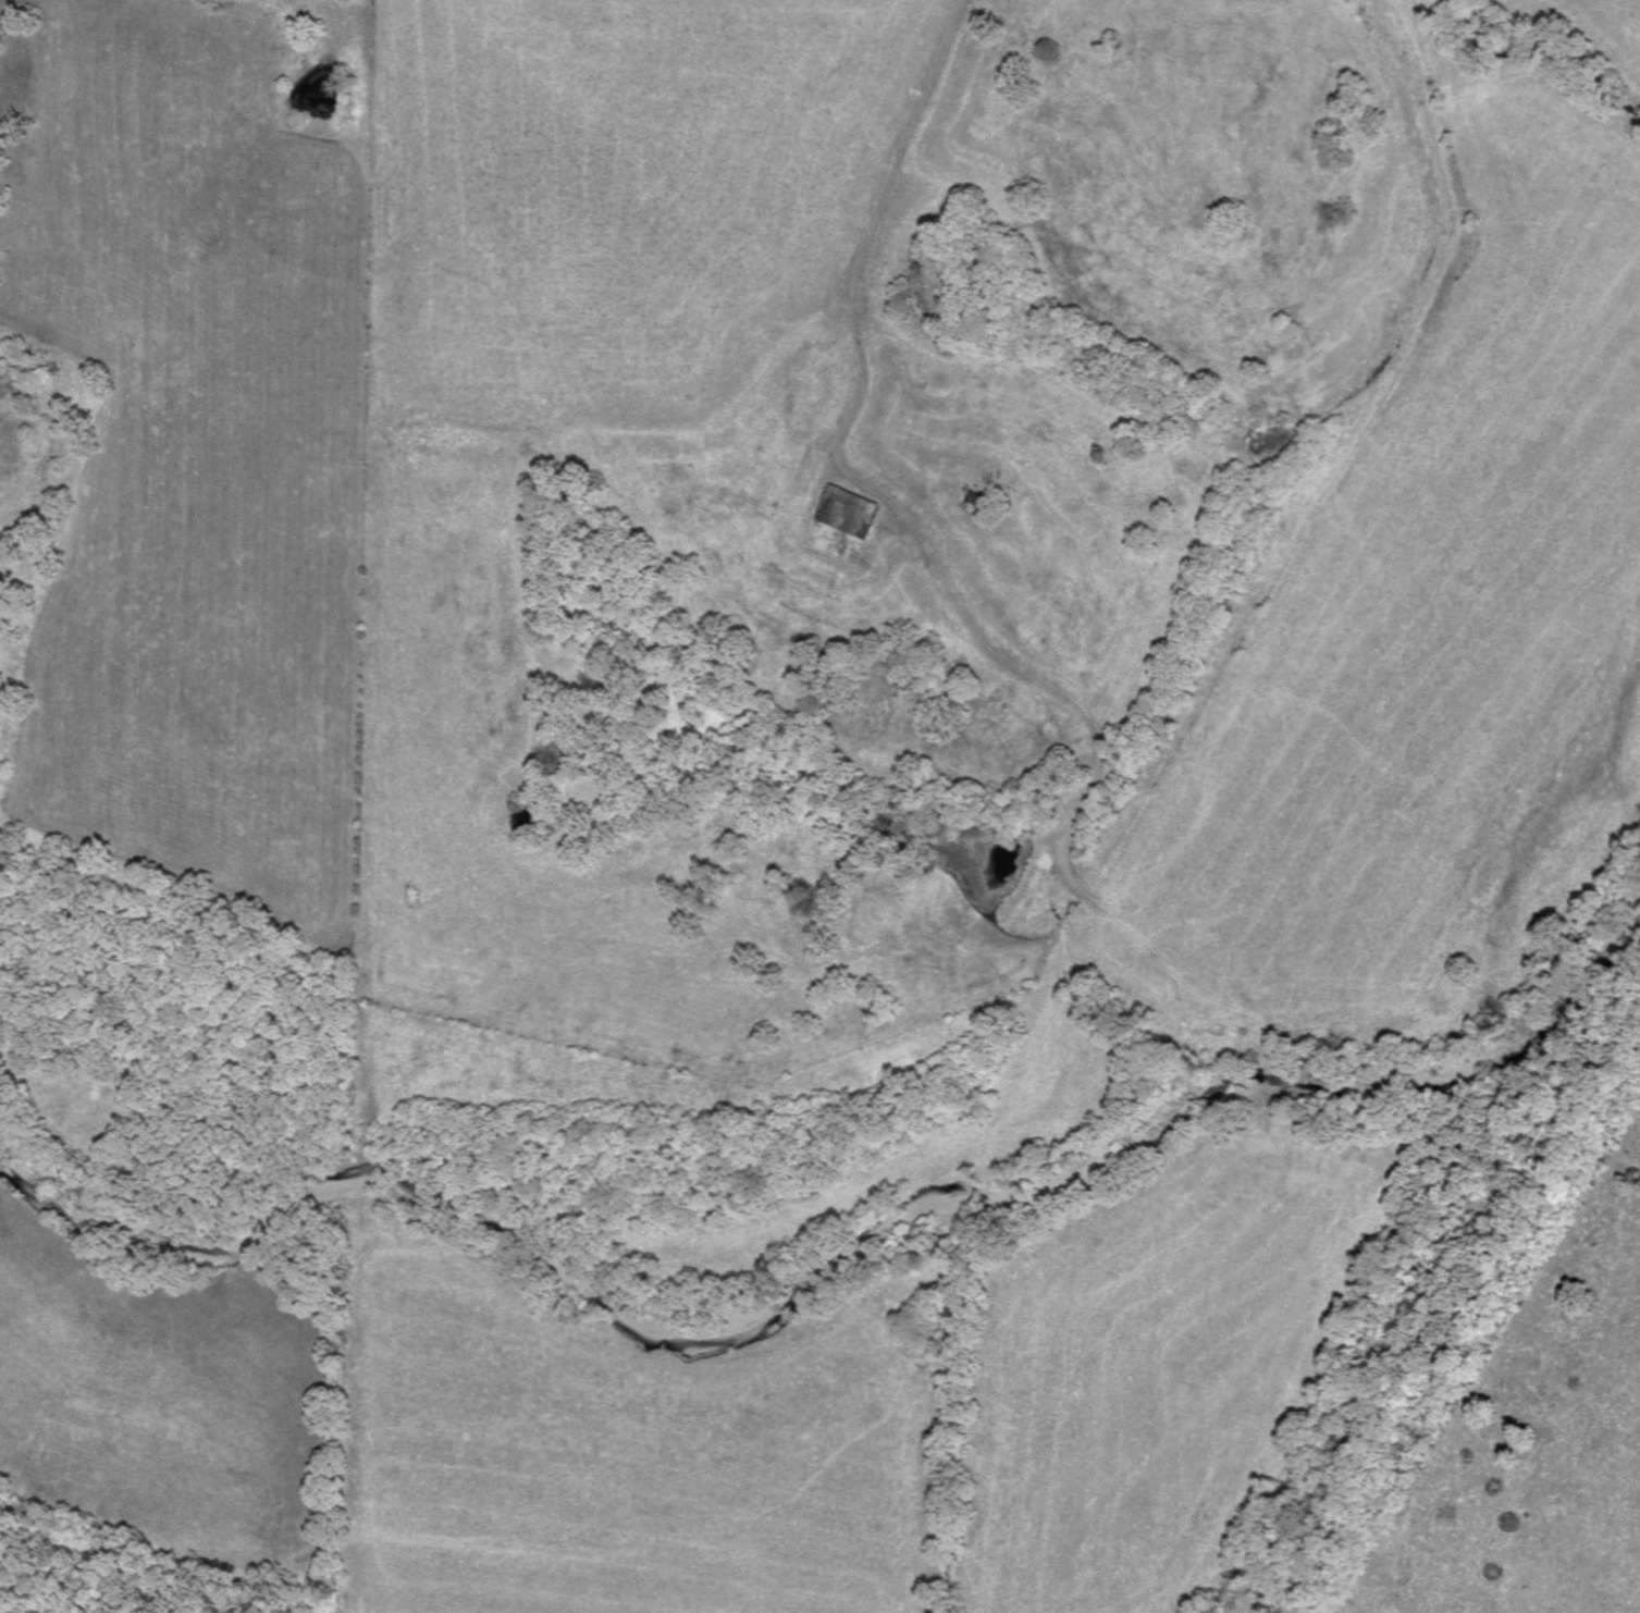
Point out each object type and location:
road: (873, 213)
building: (844, 514)

